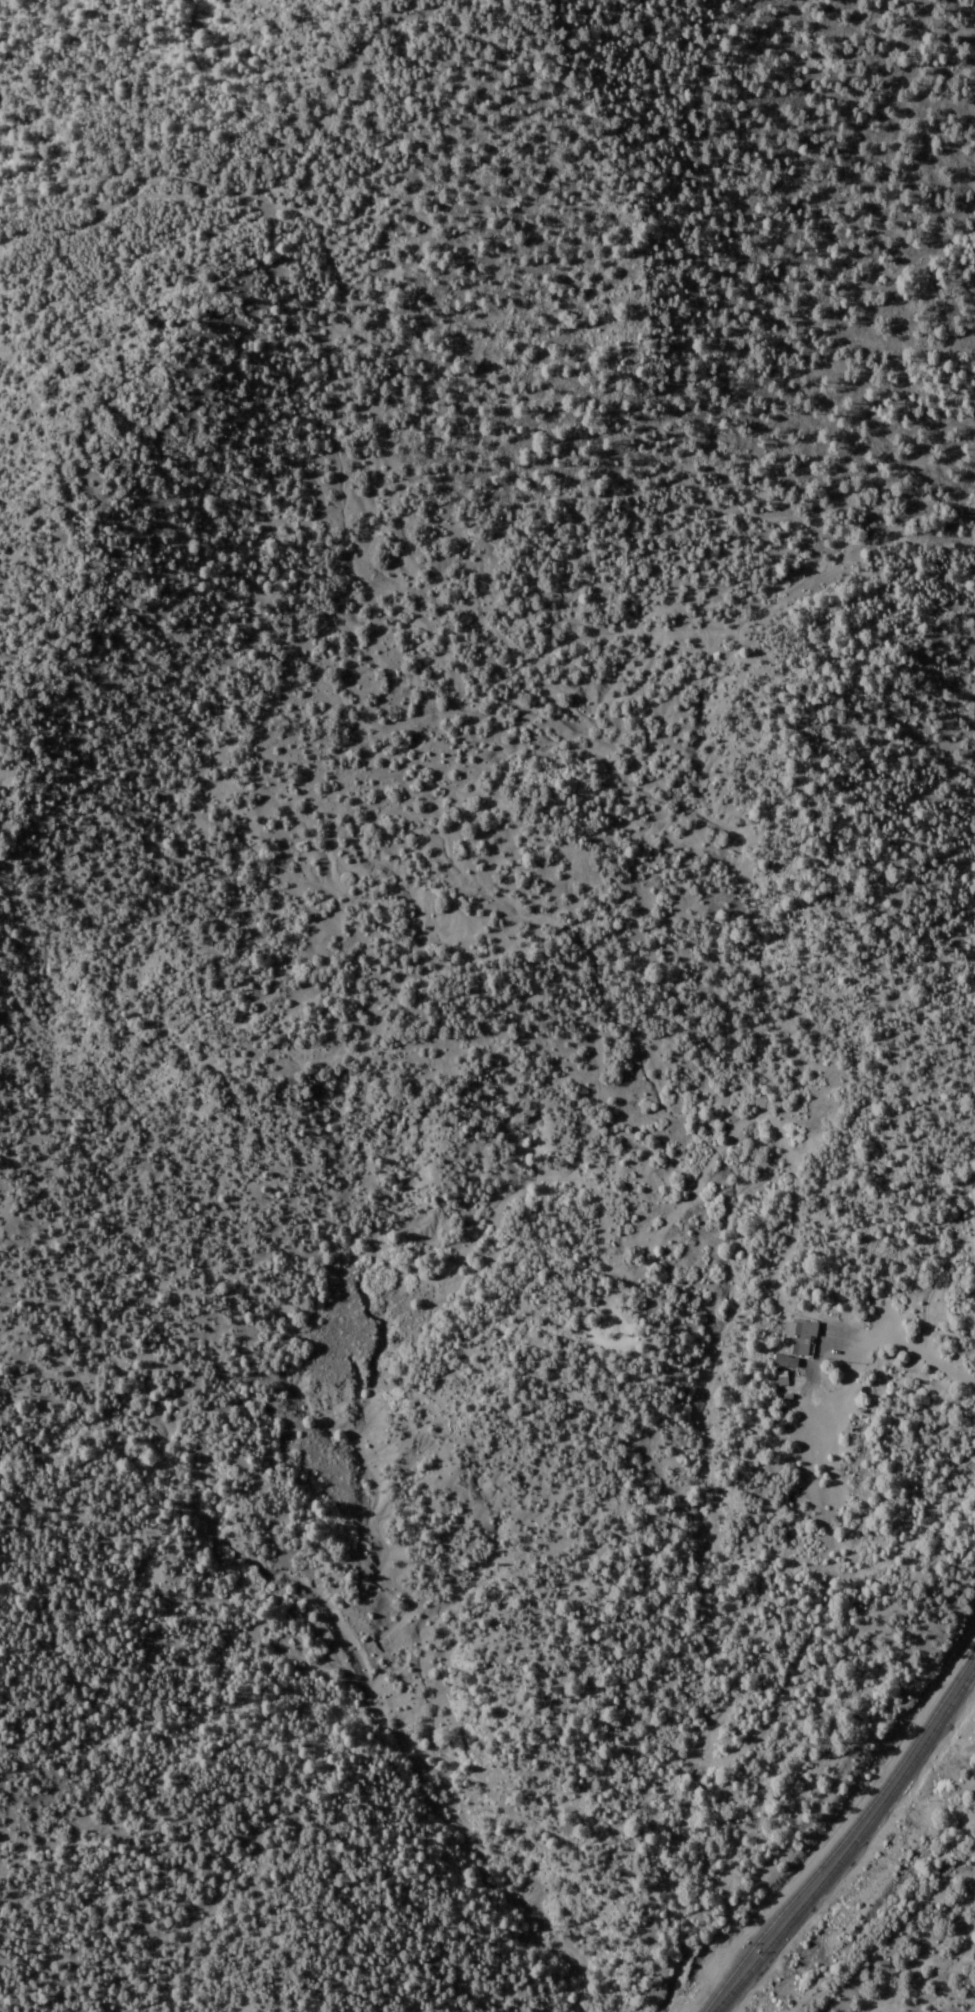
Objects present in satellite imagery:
building: (791, 1338)
road: (943, 1363)
railway: (911, 1765)
road: (837, 1826)
railway: (846, 1835)
railway: (778, 1935)

